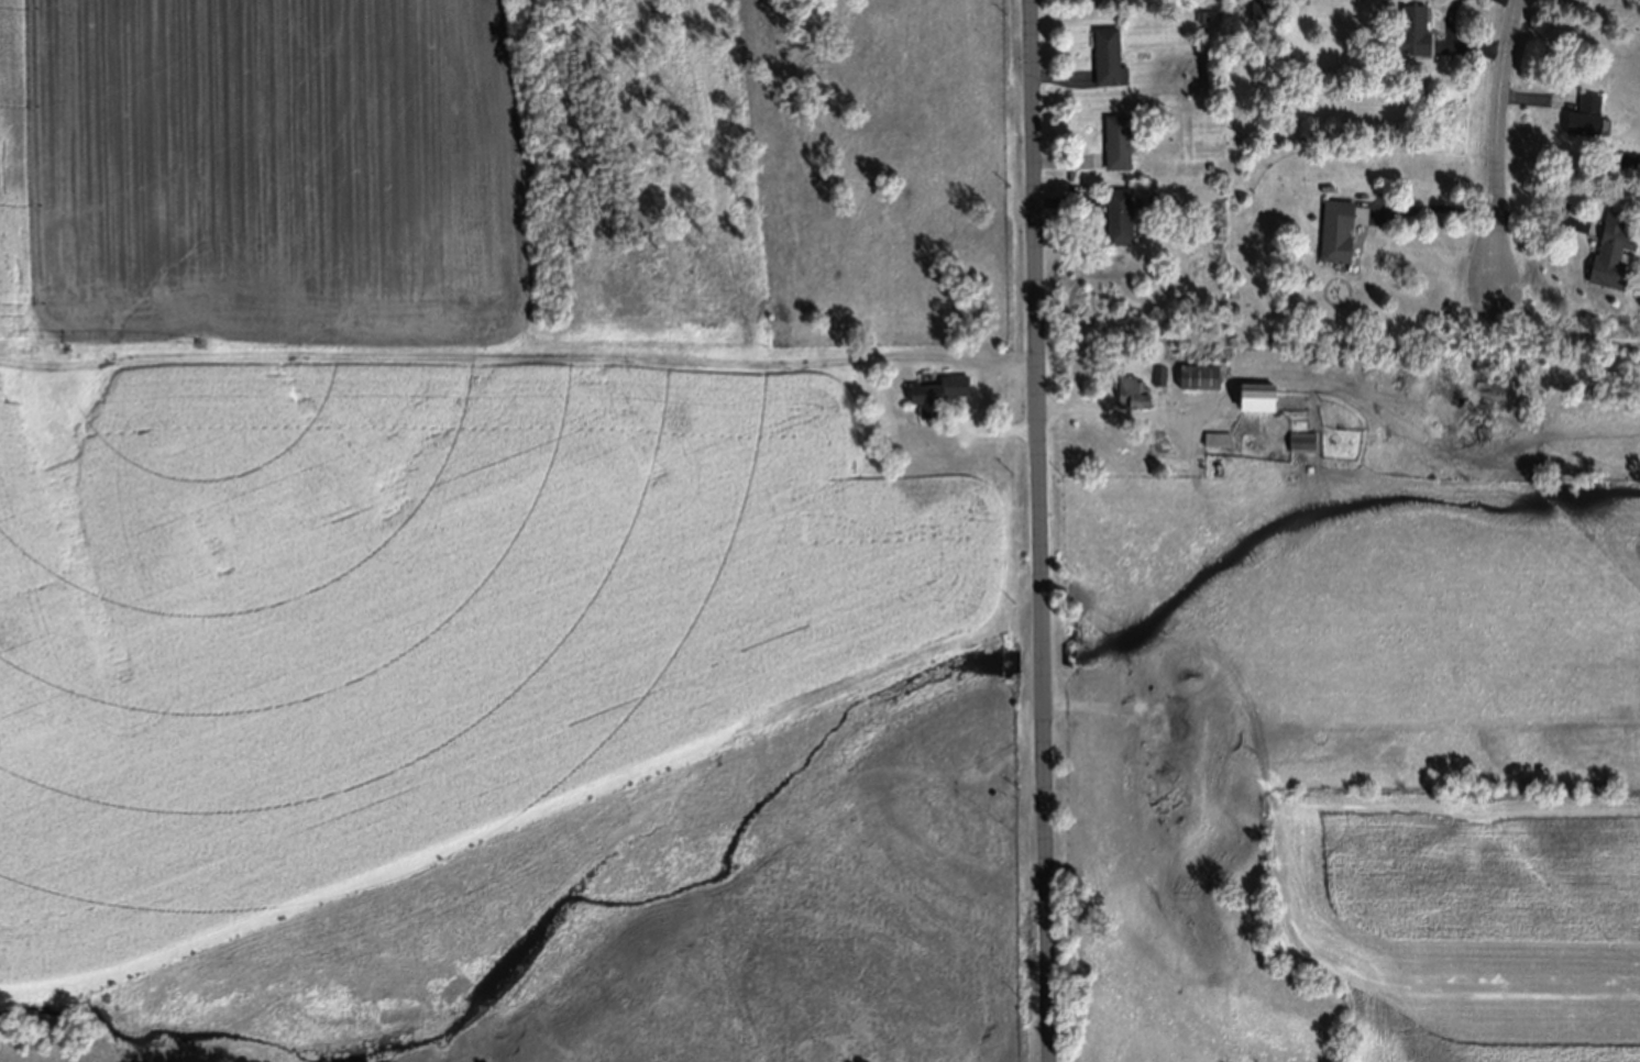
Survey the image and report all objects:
building: (1416, 24)
building: (1110, 56)
building: (1588, 117)
road: (1497, 140)
building: (1120, 142)
building: (1629, 164)
road: (1429, 207)
building: (1121, 217)
building: (1339, 231)
building: (1617, 250)
building: (1201, 376)
building: (944, 389)
building: (1134, 392)
building: (1261, 397)
road: (1131, 412)
building: (1221, 439)
building: (1303, 441)
road: (1039, 531)
building: (1039, 655)
crop: (1353, 753)

